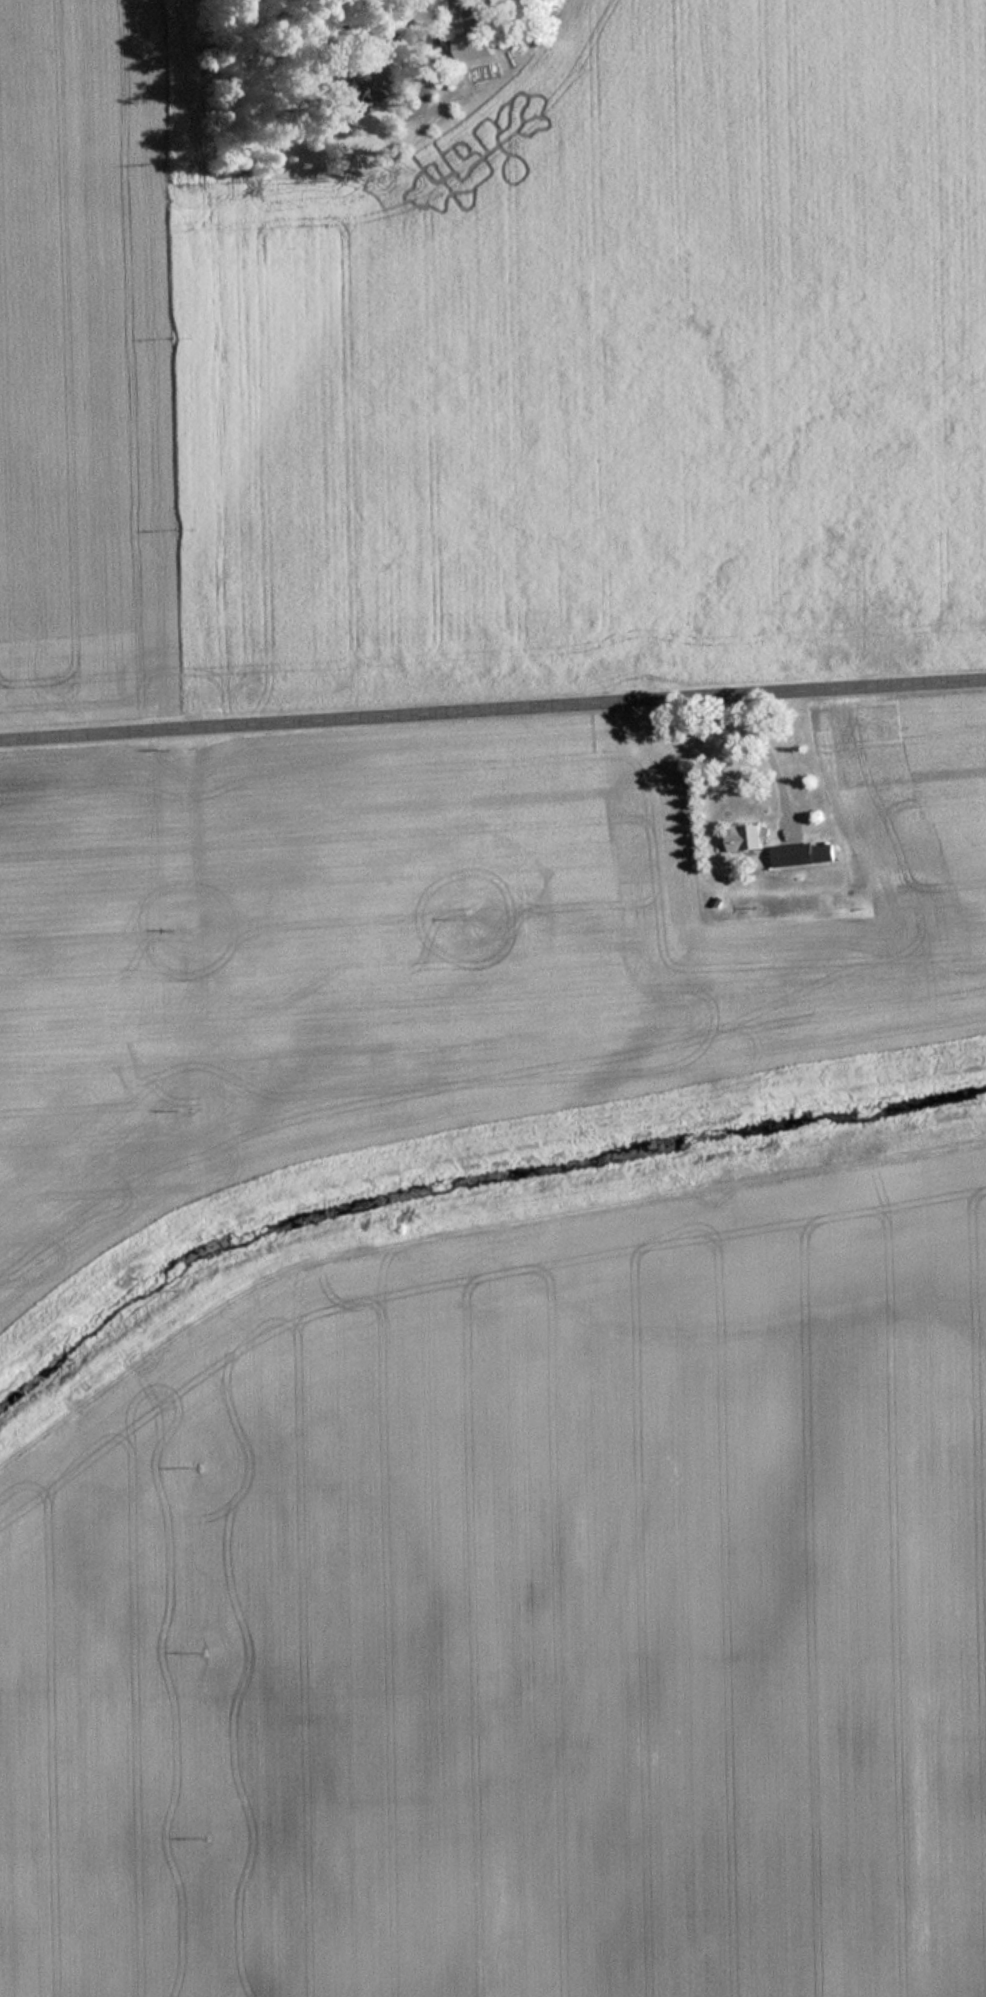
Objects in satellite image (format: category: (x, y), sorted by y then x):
building: (352, 101)
road: (493, 706)
building: (744, 837)
building: (803, 854)

